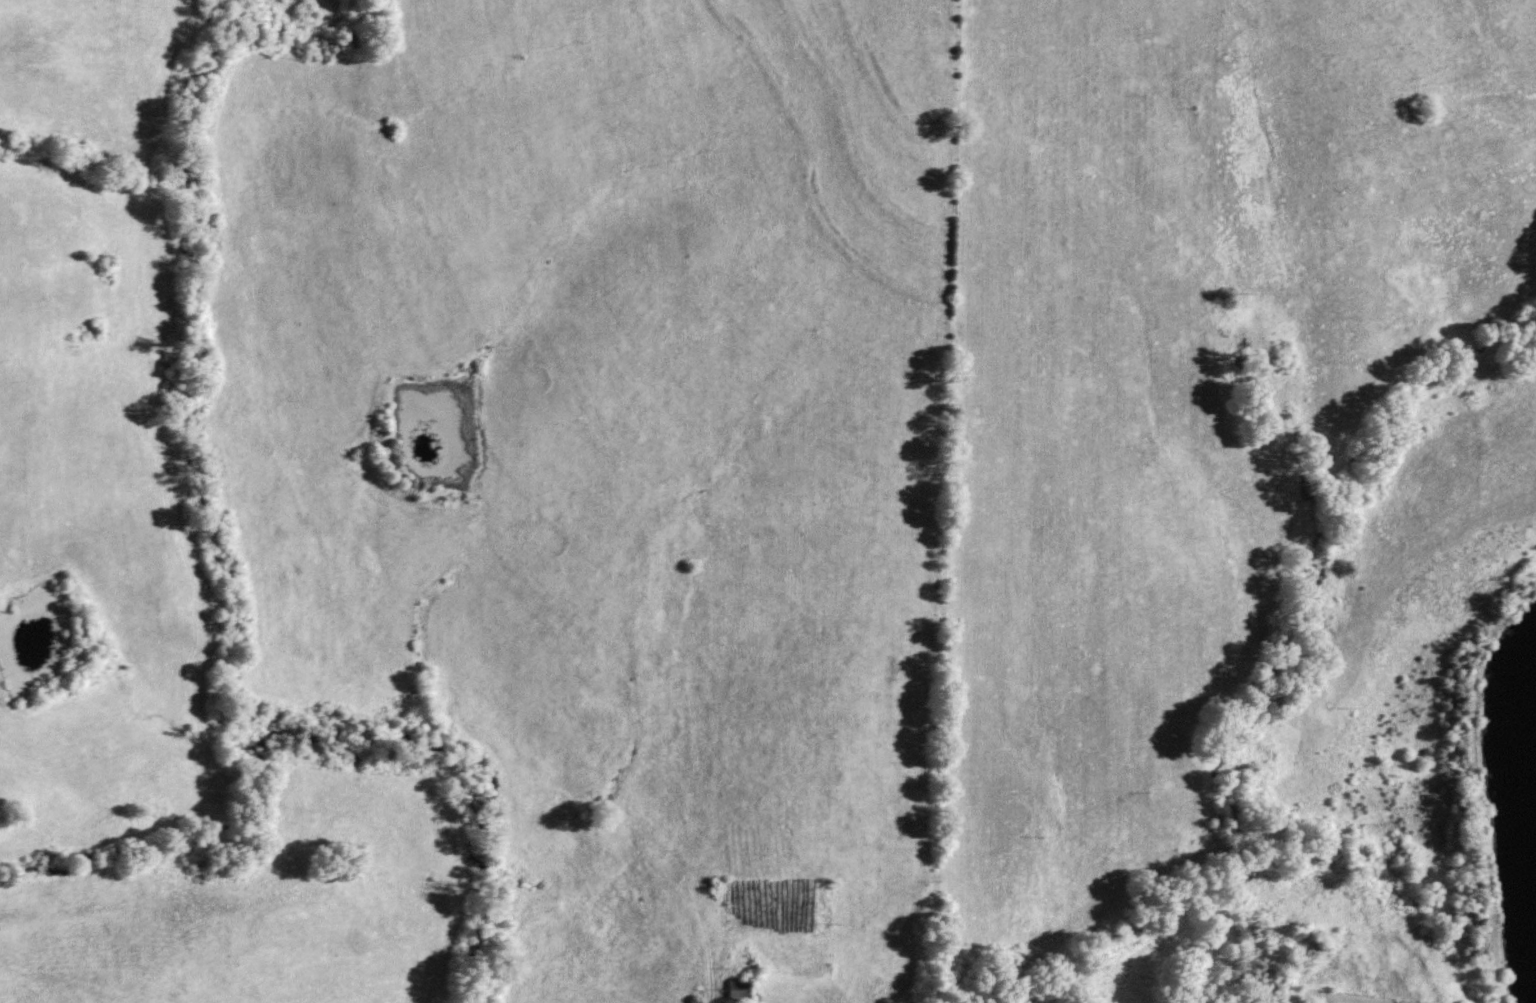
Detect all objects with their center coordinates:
building: (738, 989)

